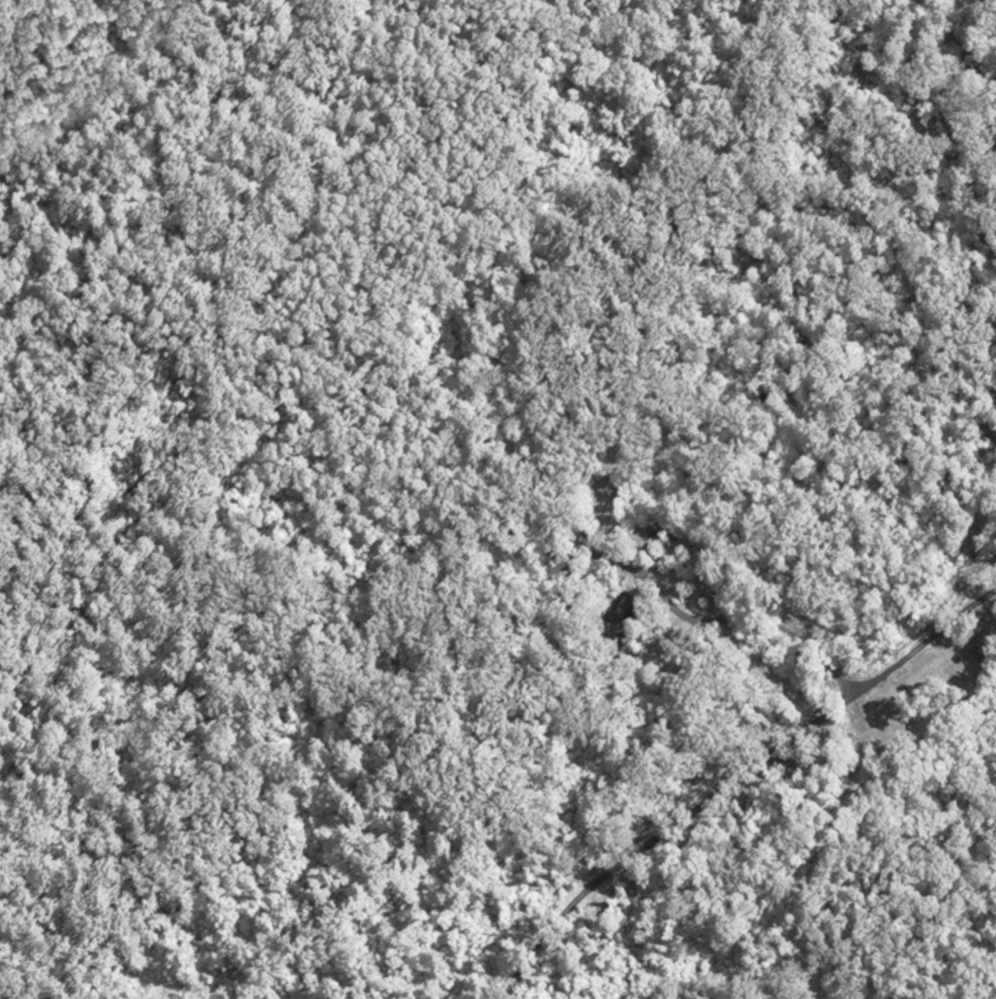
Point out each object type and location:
road: (130, 229)
road: (756, 618)
building: (976, 652)
road: (734, 778)

